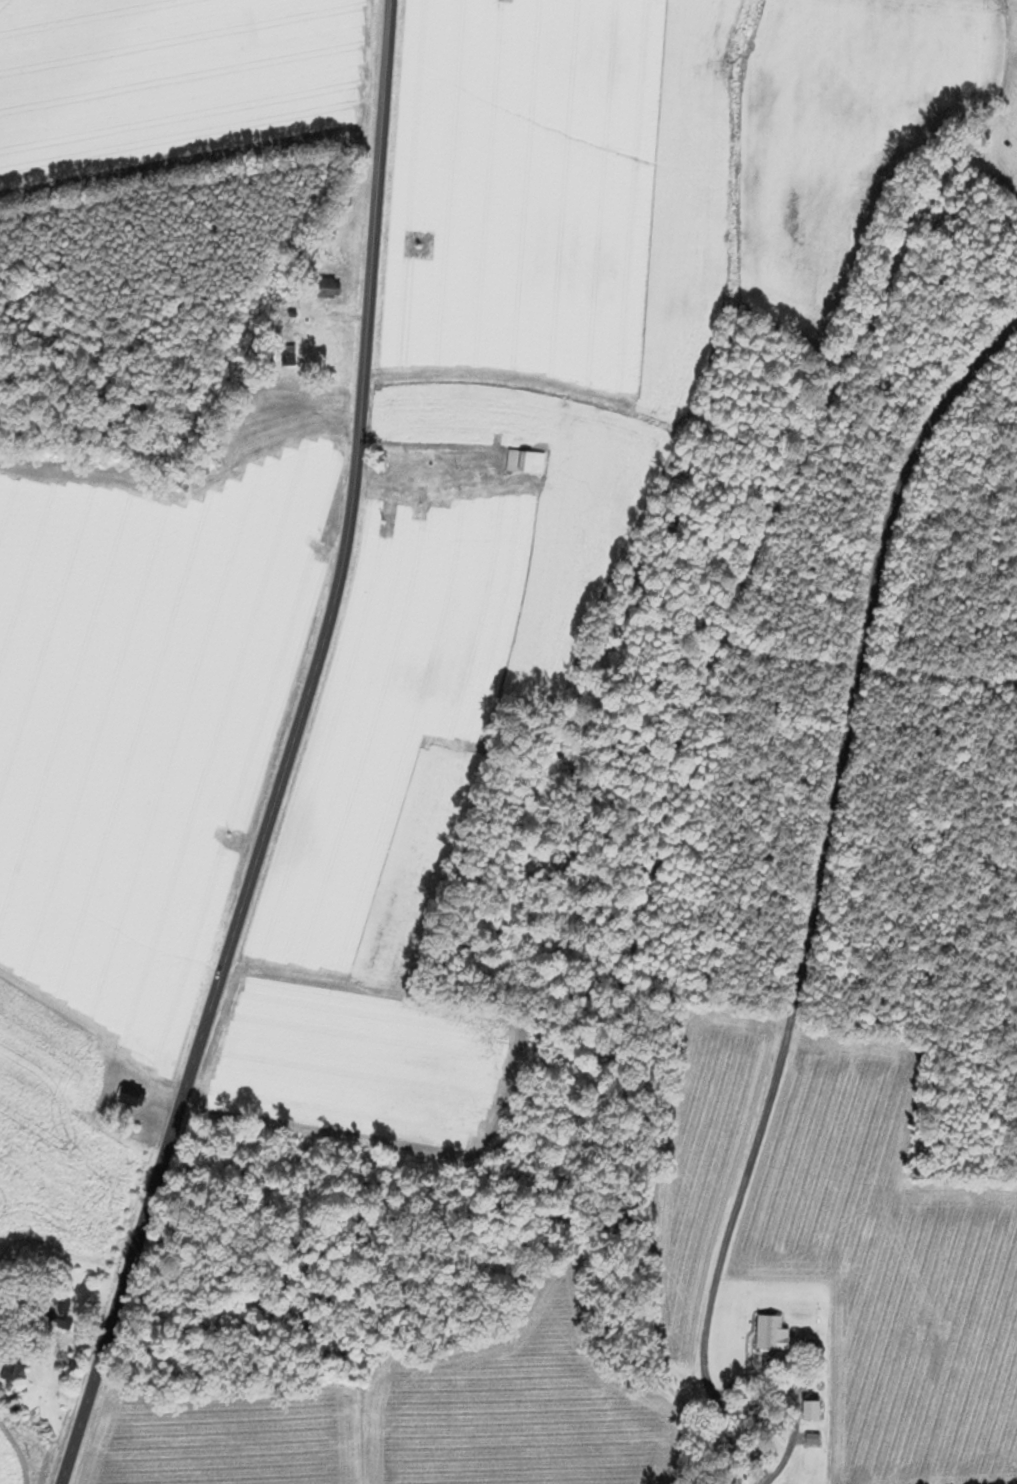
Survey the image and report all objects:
building: (322, 289)
building: (284, 357)
building: (524, 462)
road: (285, 753)
building: (129, 1100)
building: (49, 1314)
building: (772, 1335)
building: (8, 1370)
road: (754, 1395)
building: (811, 1411)

